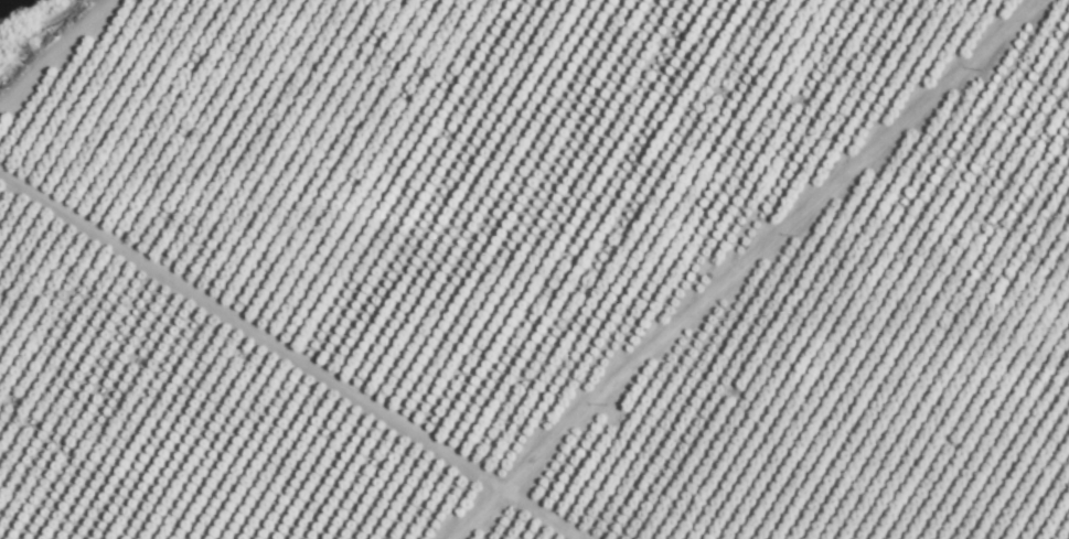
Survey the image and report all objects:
river: (14, 10)
road: (737, 266)

